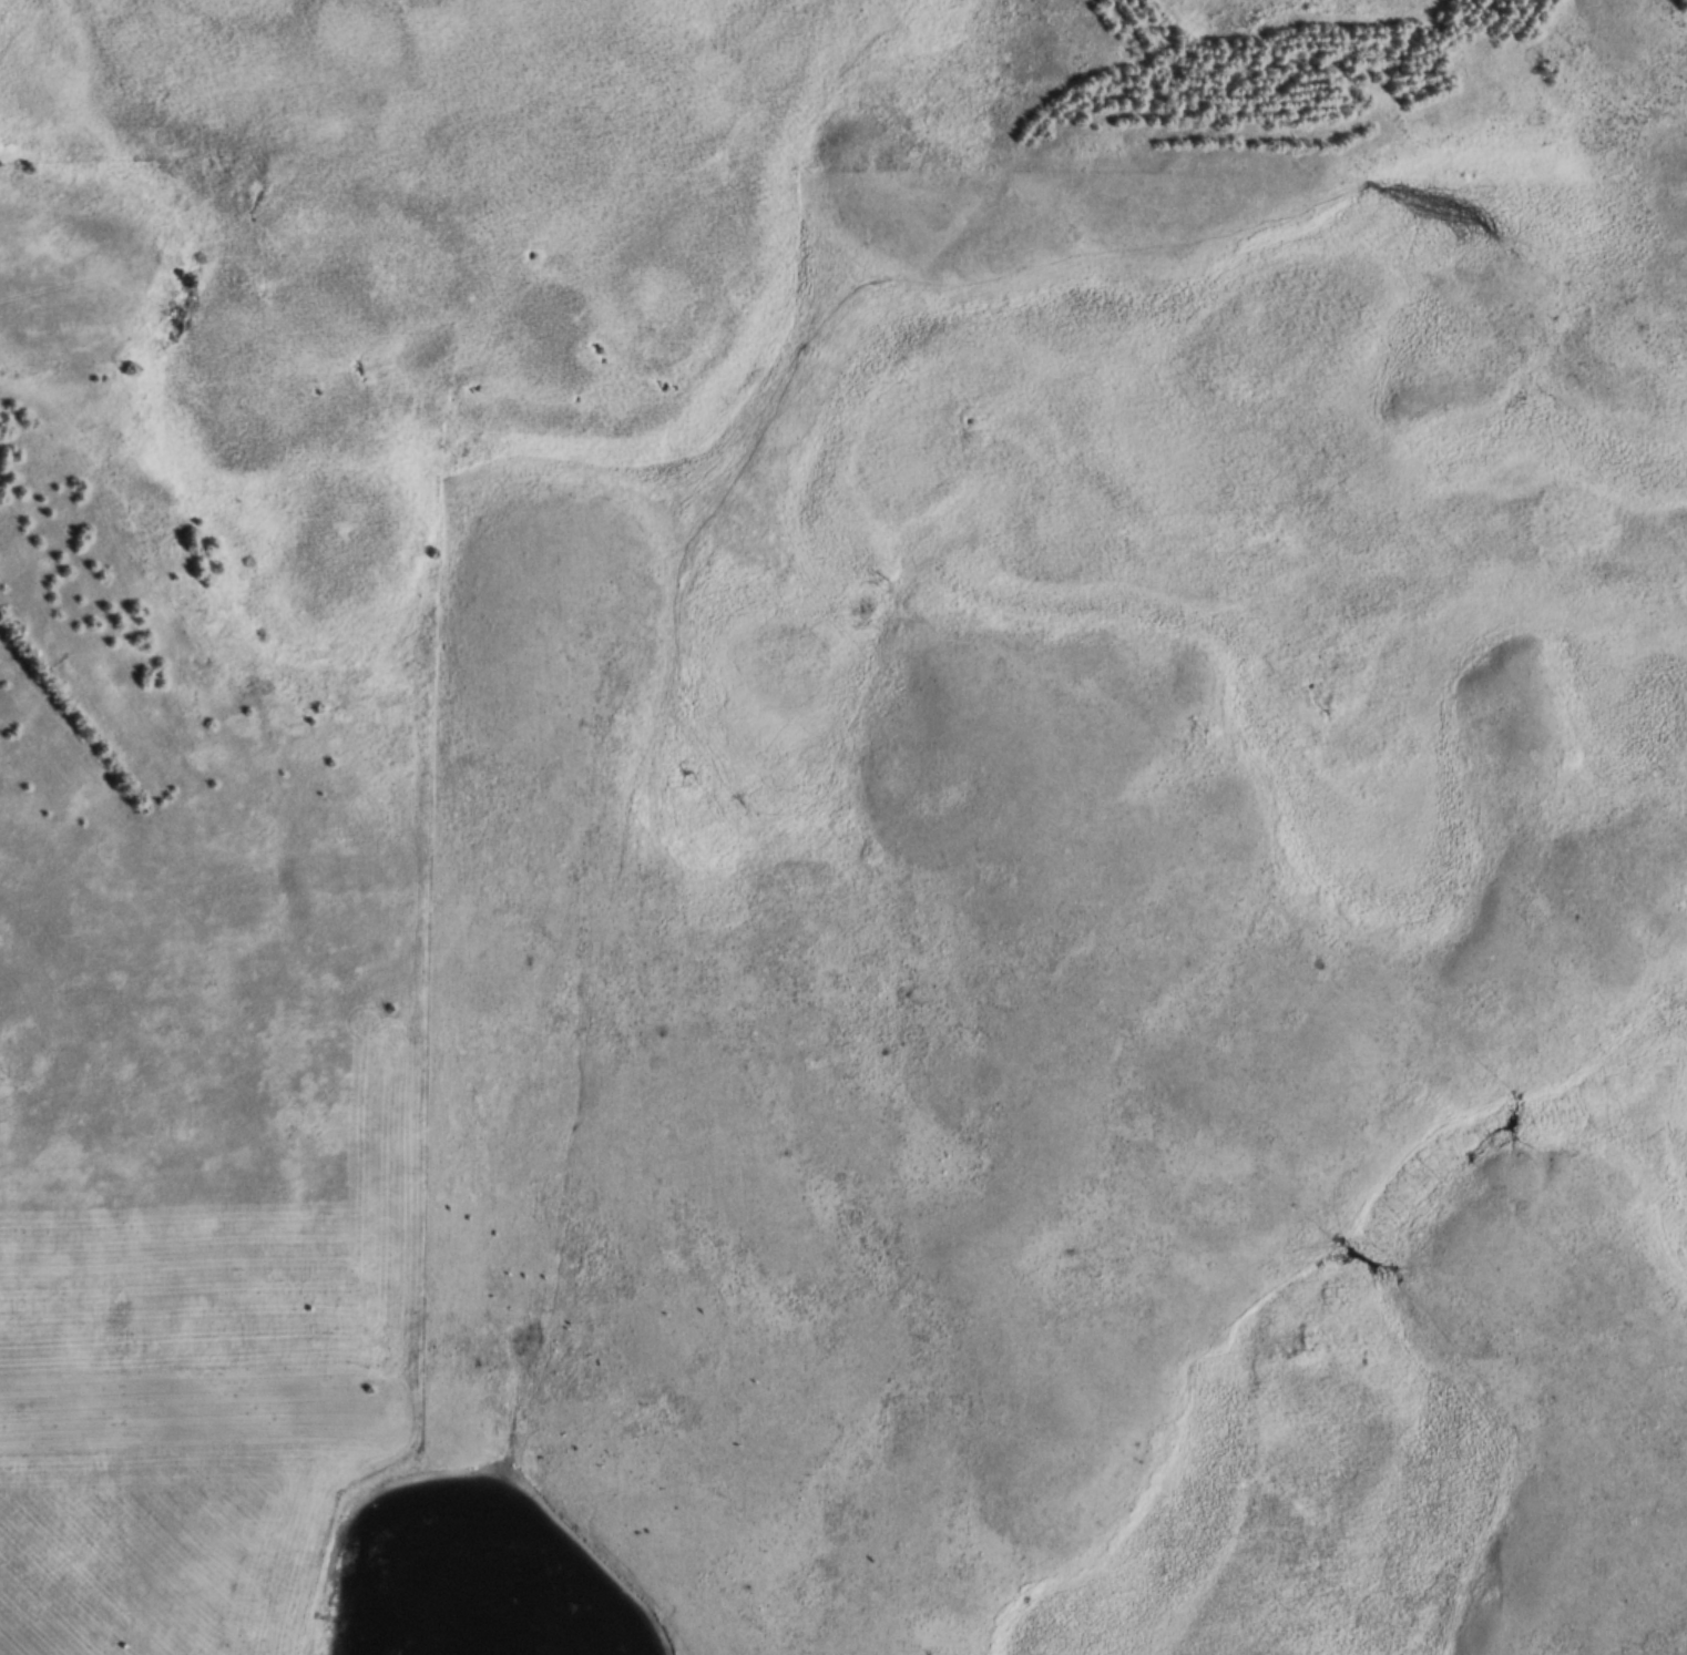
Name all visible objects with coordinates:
airport runway: (194, 1433)

